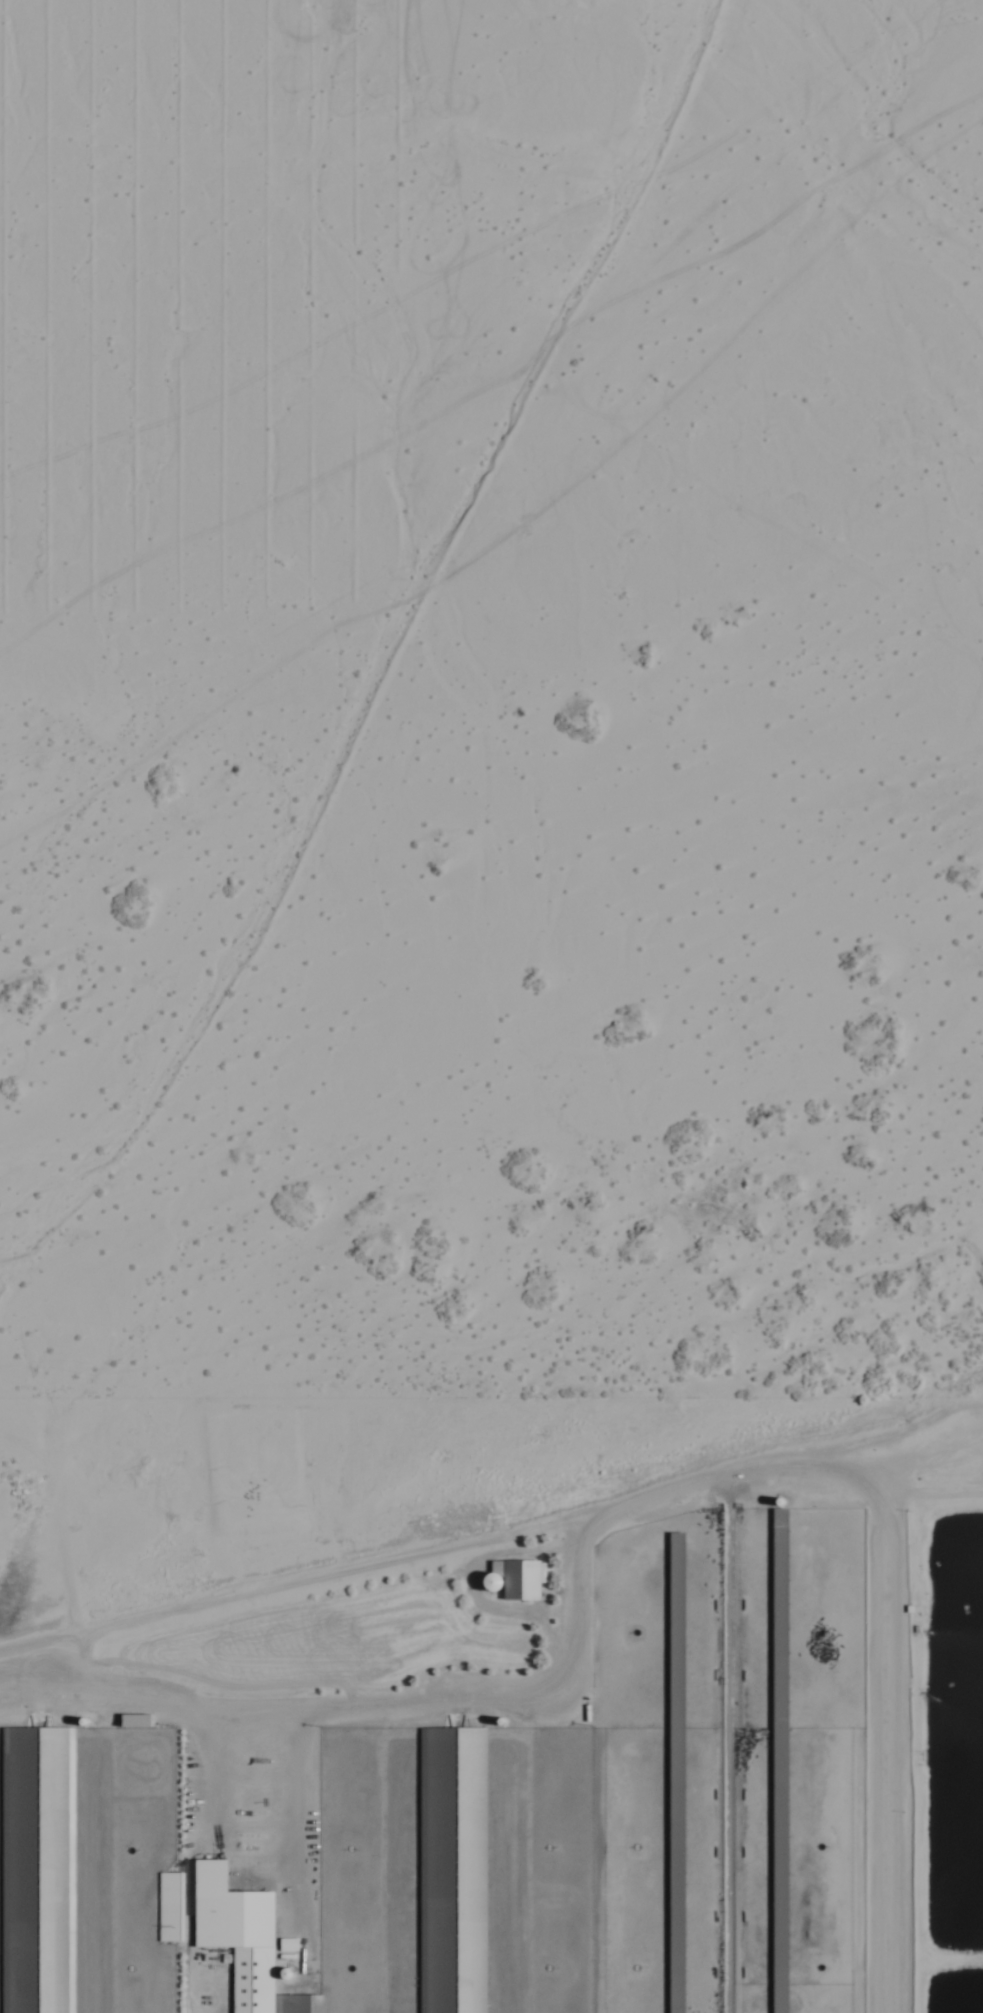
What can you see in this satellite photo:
road: (704, 1487)
building: (525, 1581)
crop: (532, 1760)
building: (775, 1761)
building: (671, 1772)
building: (32, 1870)
building: (451, 1870)
building: (168, 1908)
building: (239, 1941)

